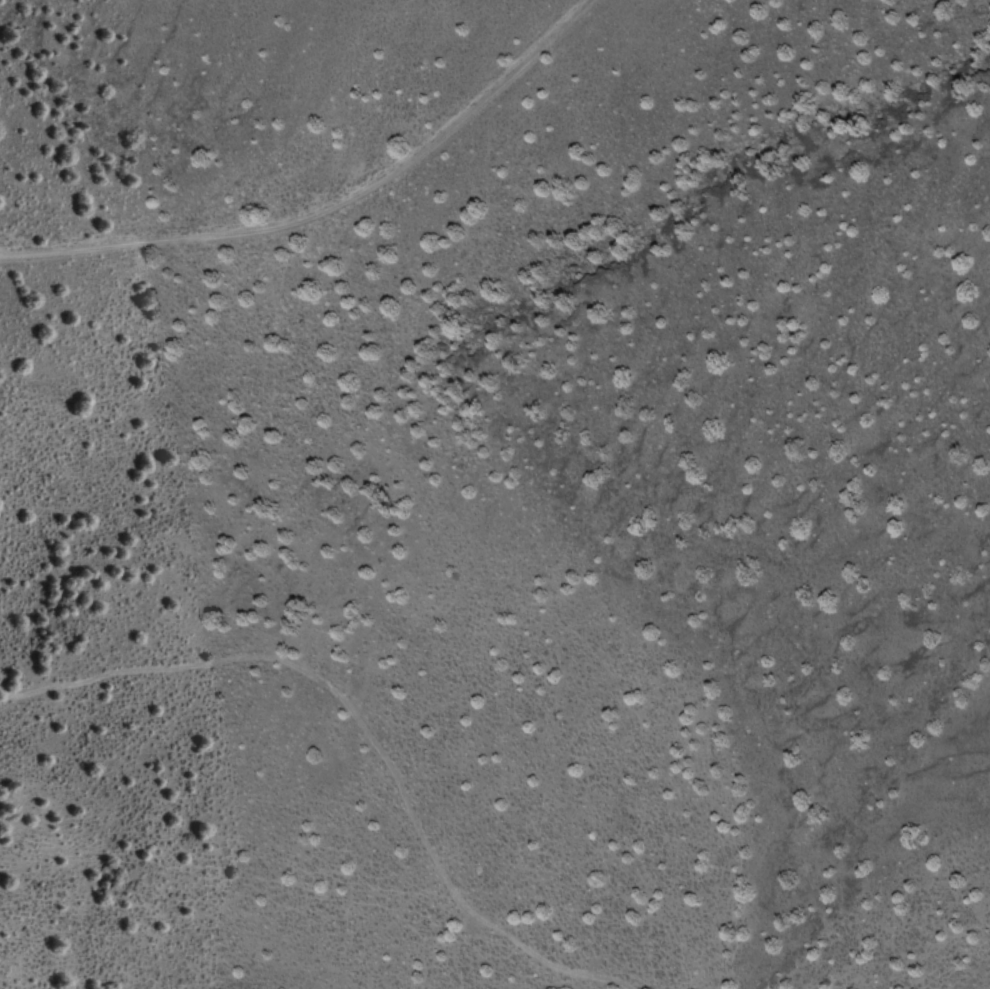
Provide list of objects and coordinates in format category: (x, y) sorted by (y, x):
road: (328, 207)
road: (361, 723)

